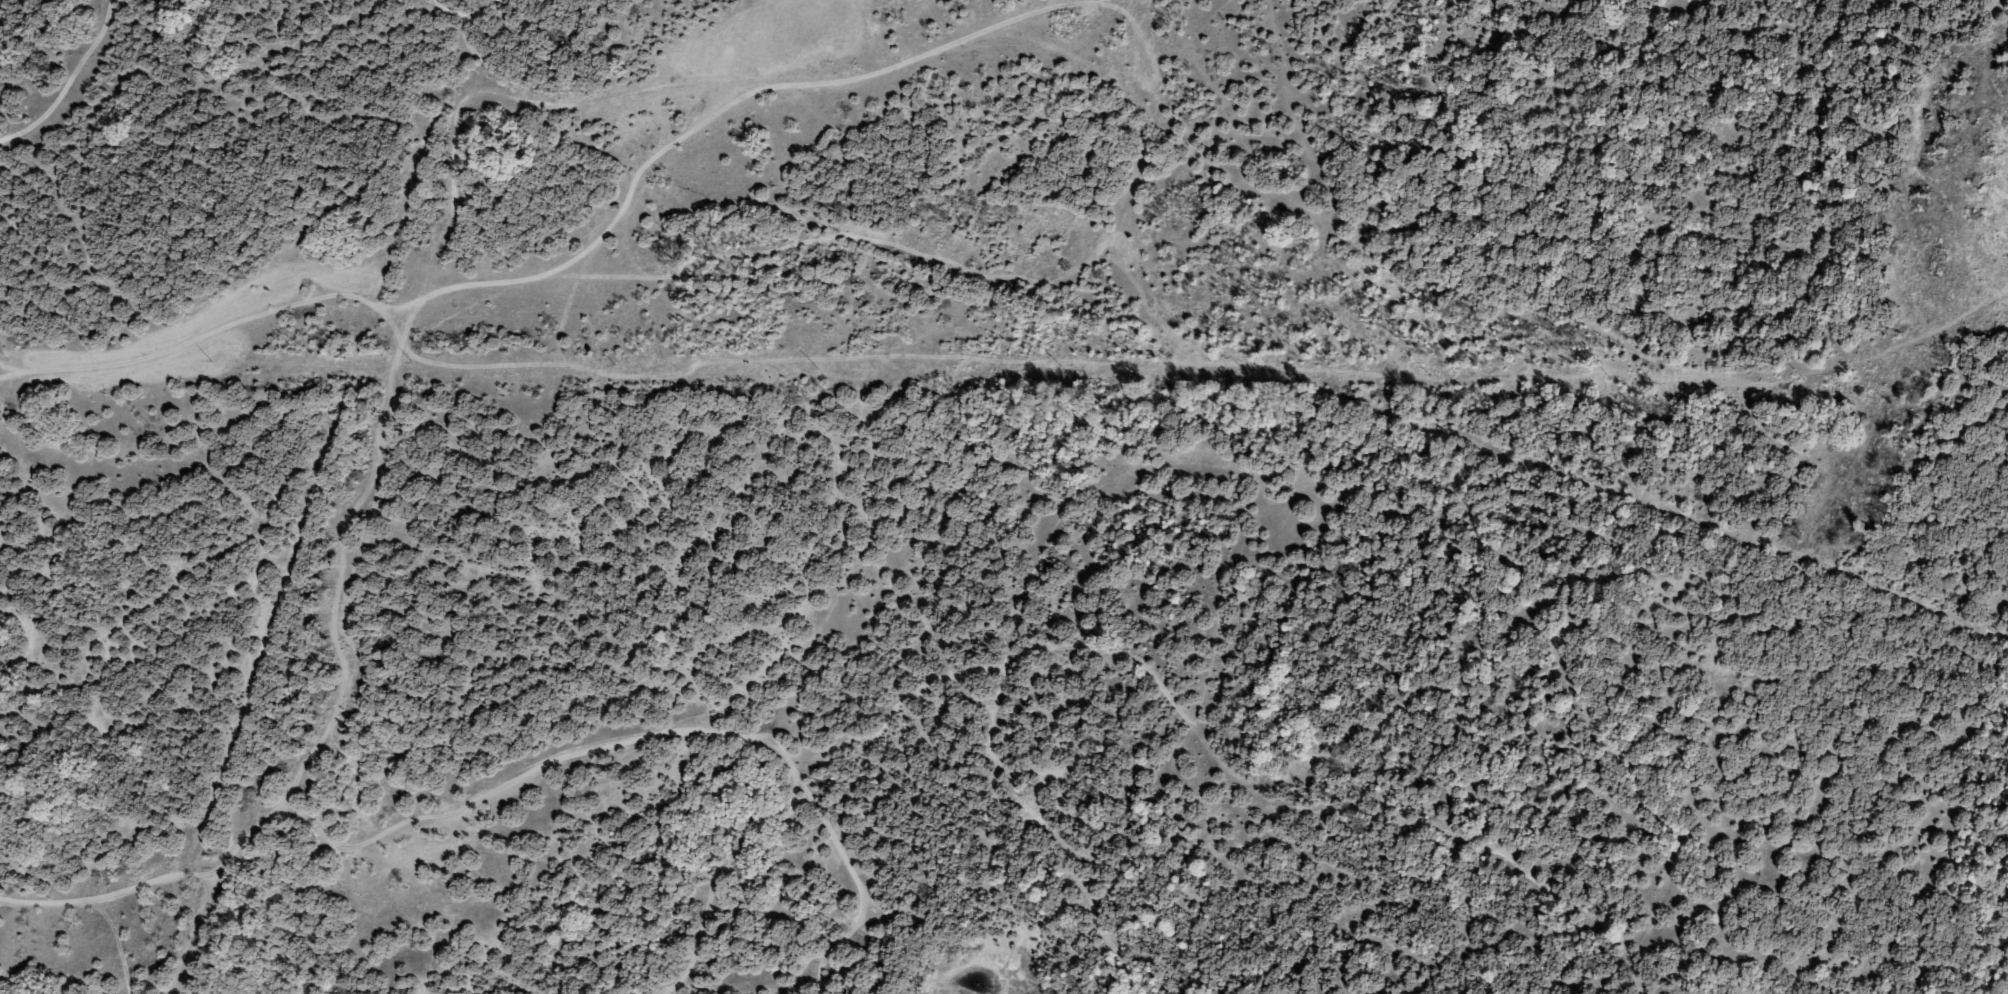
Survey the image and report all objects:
road: (386, 813)

